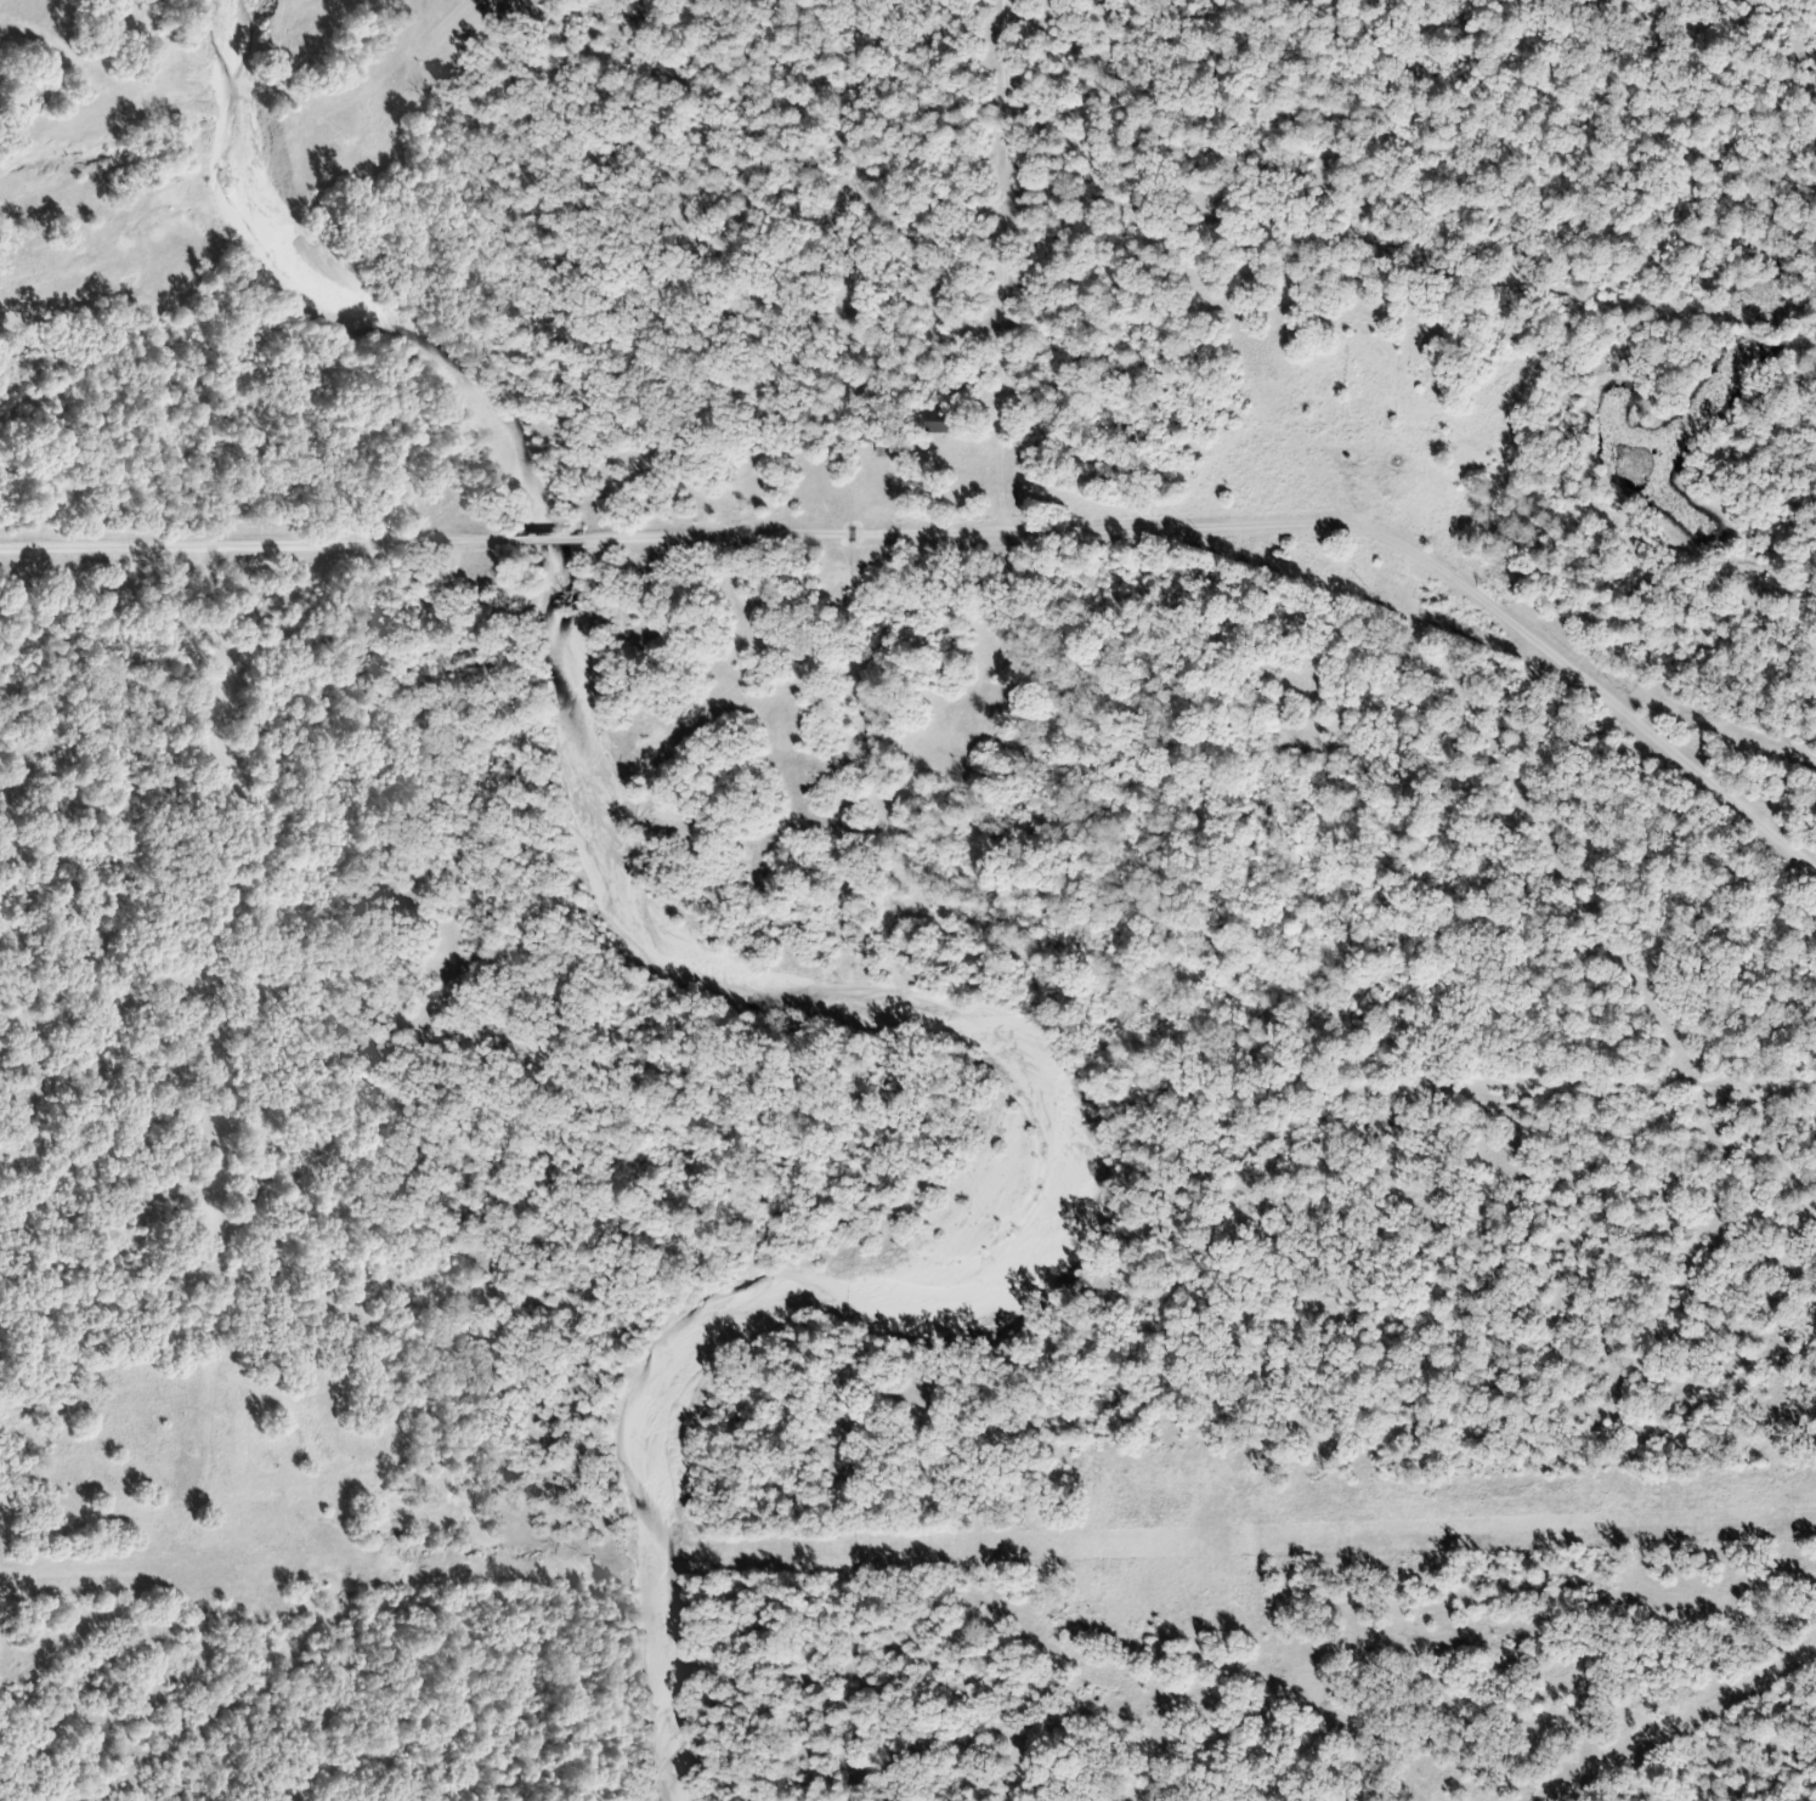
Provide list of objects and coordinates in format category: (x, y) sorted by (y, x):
building: (939, 420)
building: (878, 447)
road: (954, 533)
road: (1778, 834)
road: (83, 1567)

